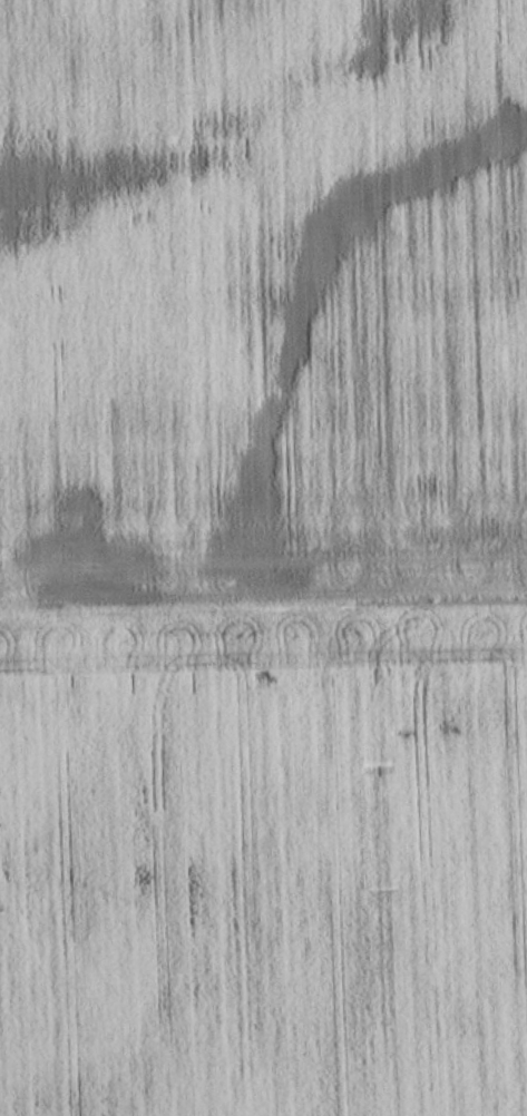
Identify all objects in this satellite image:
crop: (263, 558)

